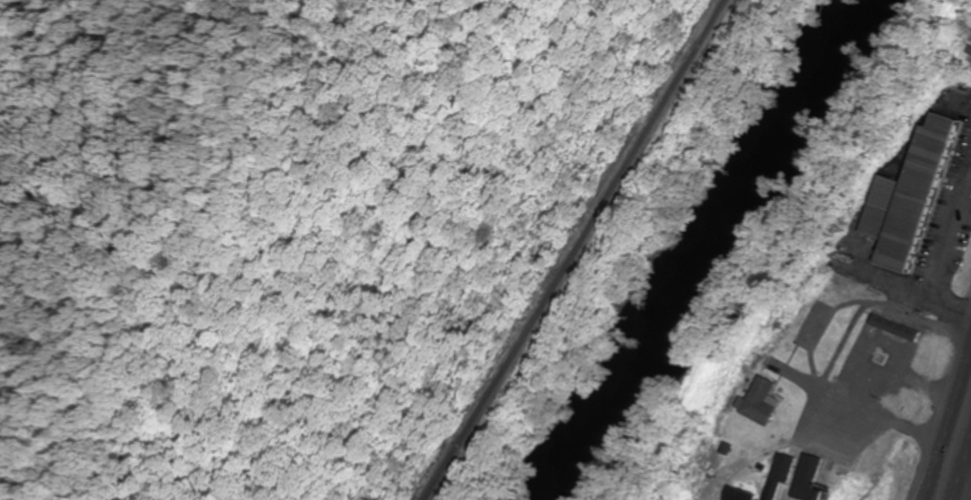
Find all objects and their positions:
building: (912, 197)
river: (706, 248)
railway: (568, 251)
road: (853, 301)
building: (897, 328)
building: (764, 401)
road: (950, 429)
building: (800, 477)
road: (965, 481)
building: (742, 495)

